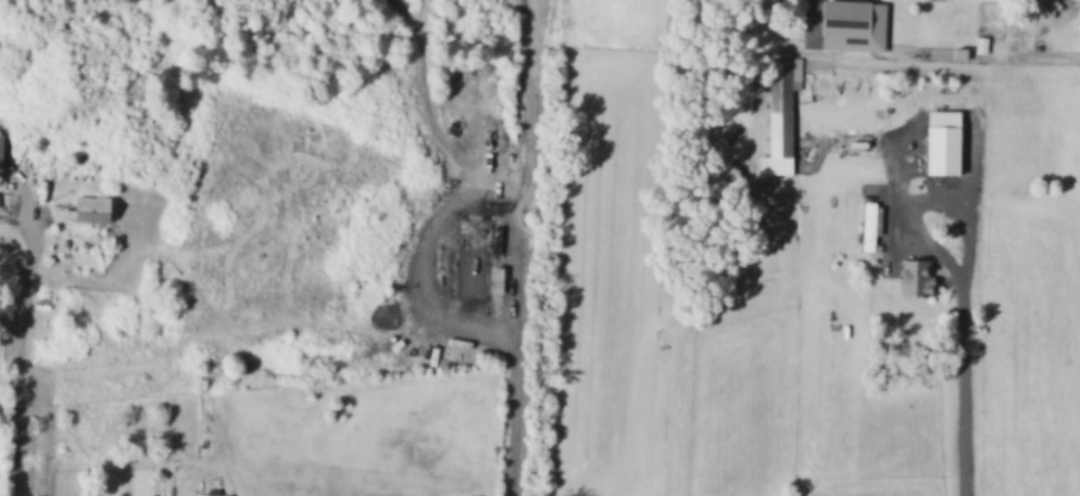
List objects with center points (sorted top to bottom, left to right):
building: (1048, 12)
building: (847, 16)
building: (982, 48)
building: (963, 52)
building: (783, 105)
building: (946, 140)
building: (1, 148)
road: (444, 206)
building: (93, 209)
building: (872, 222)
road: (916, 228)
building: (476, 259)
building: (917, 278)
road: (969, 308)
road: (22, 316)
road: (10, 321)
road: (514, 422)
building: (209, 495)

